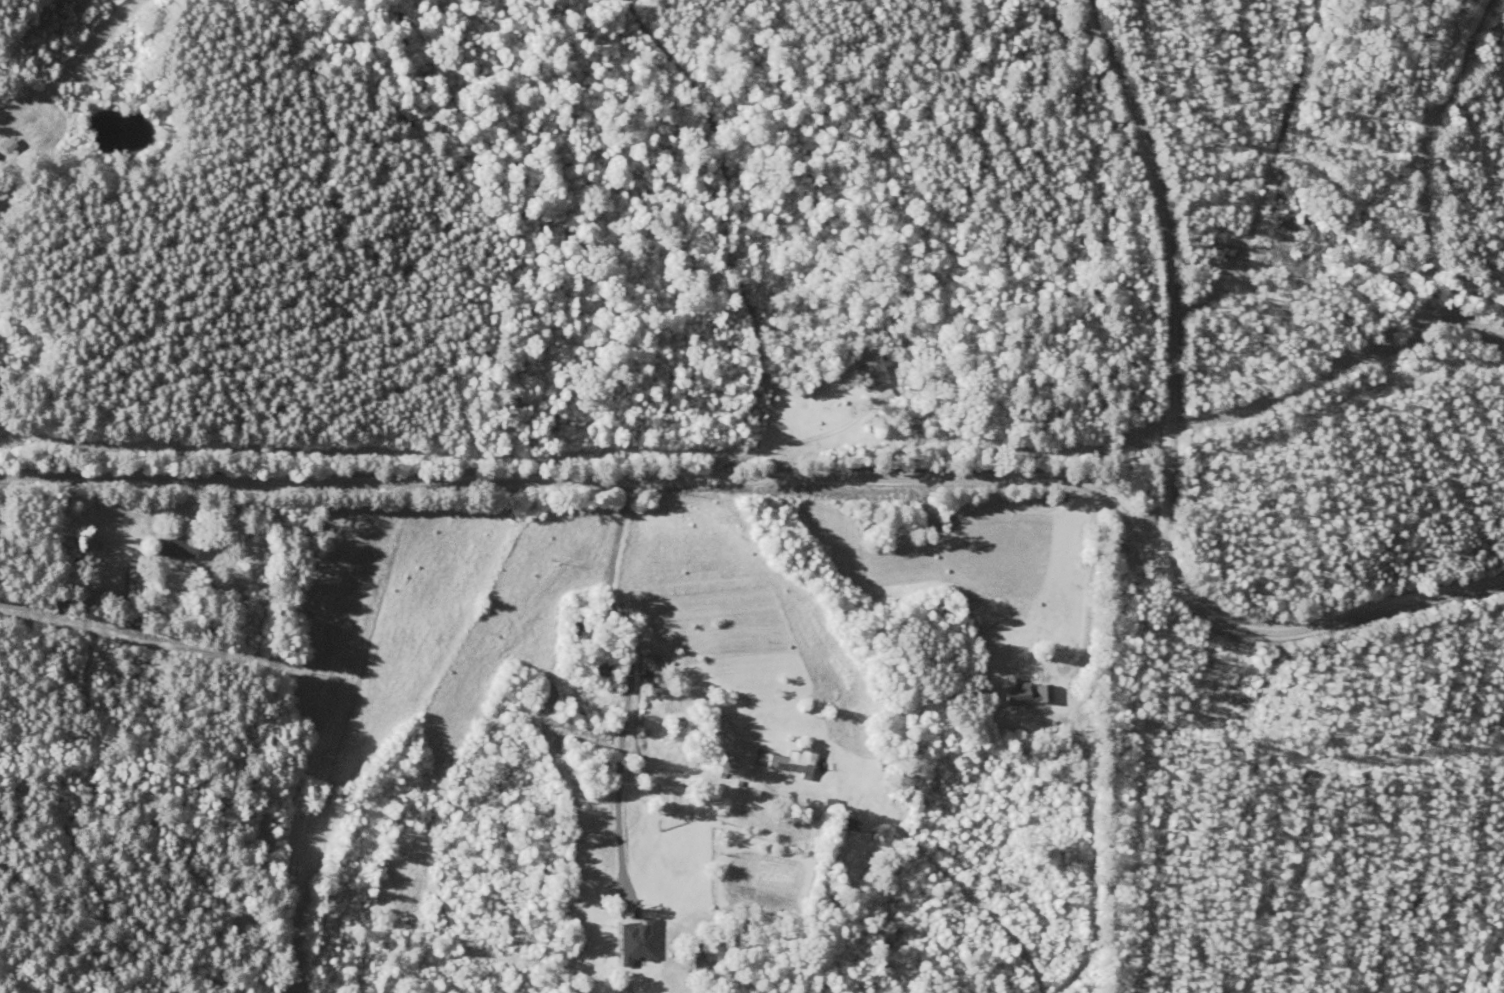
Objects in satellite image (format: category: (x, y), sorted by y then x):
building: (4, 146)
road: (1153, 202)
building: (869, 372)
road: (596, 477)
road: (1160, 491)
building: (65, 546)
building: (165, 547)
road: (614, 552)
road: (591, 562)
road: (1319, 628)
building: (603, 672)
building: (1023, 692)
building: (793, 760)
building: (842, 823)
building: (633, 940)

